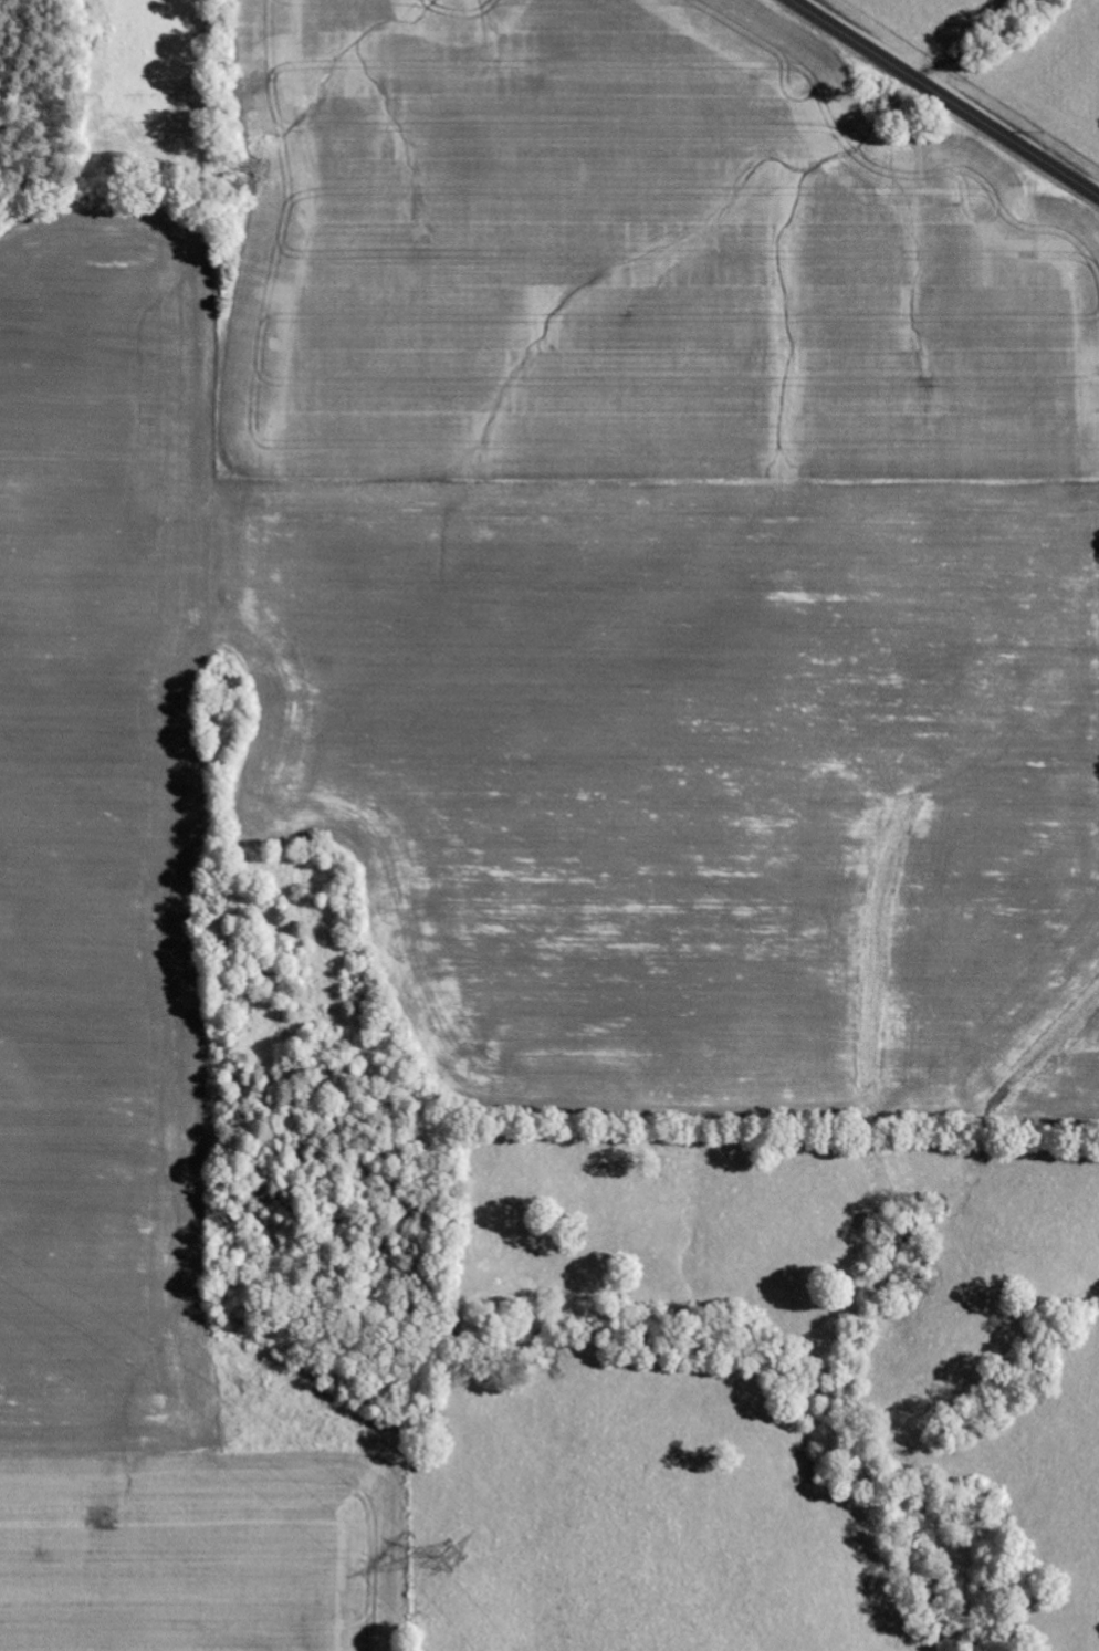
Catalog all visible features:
road: (945, 97)
power tower: (452, 1549)

